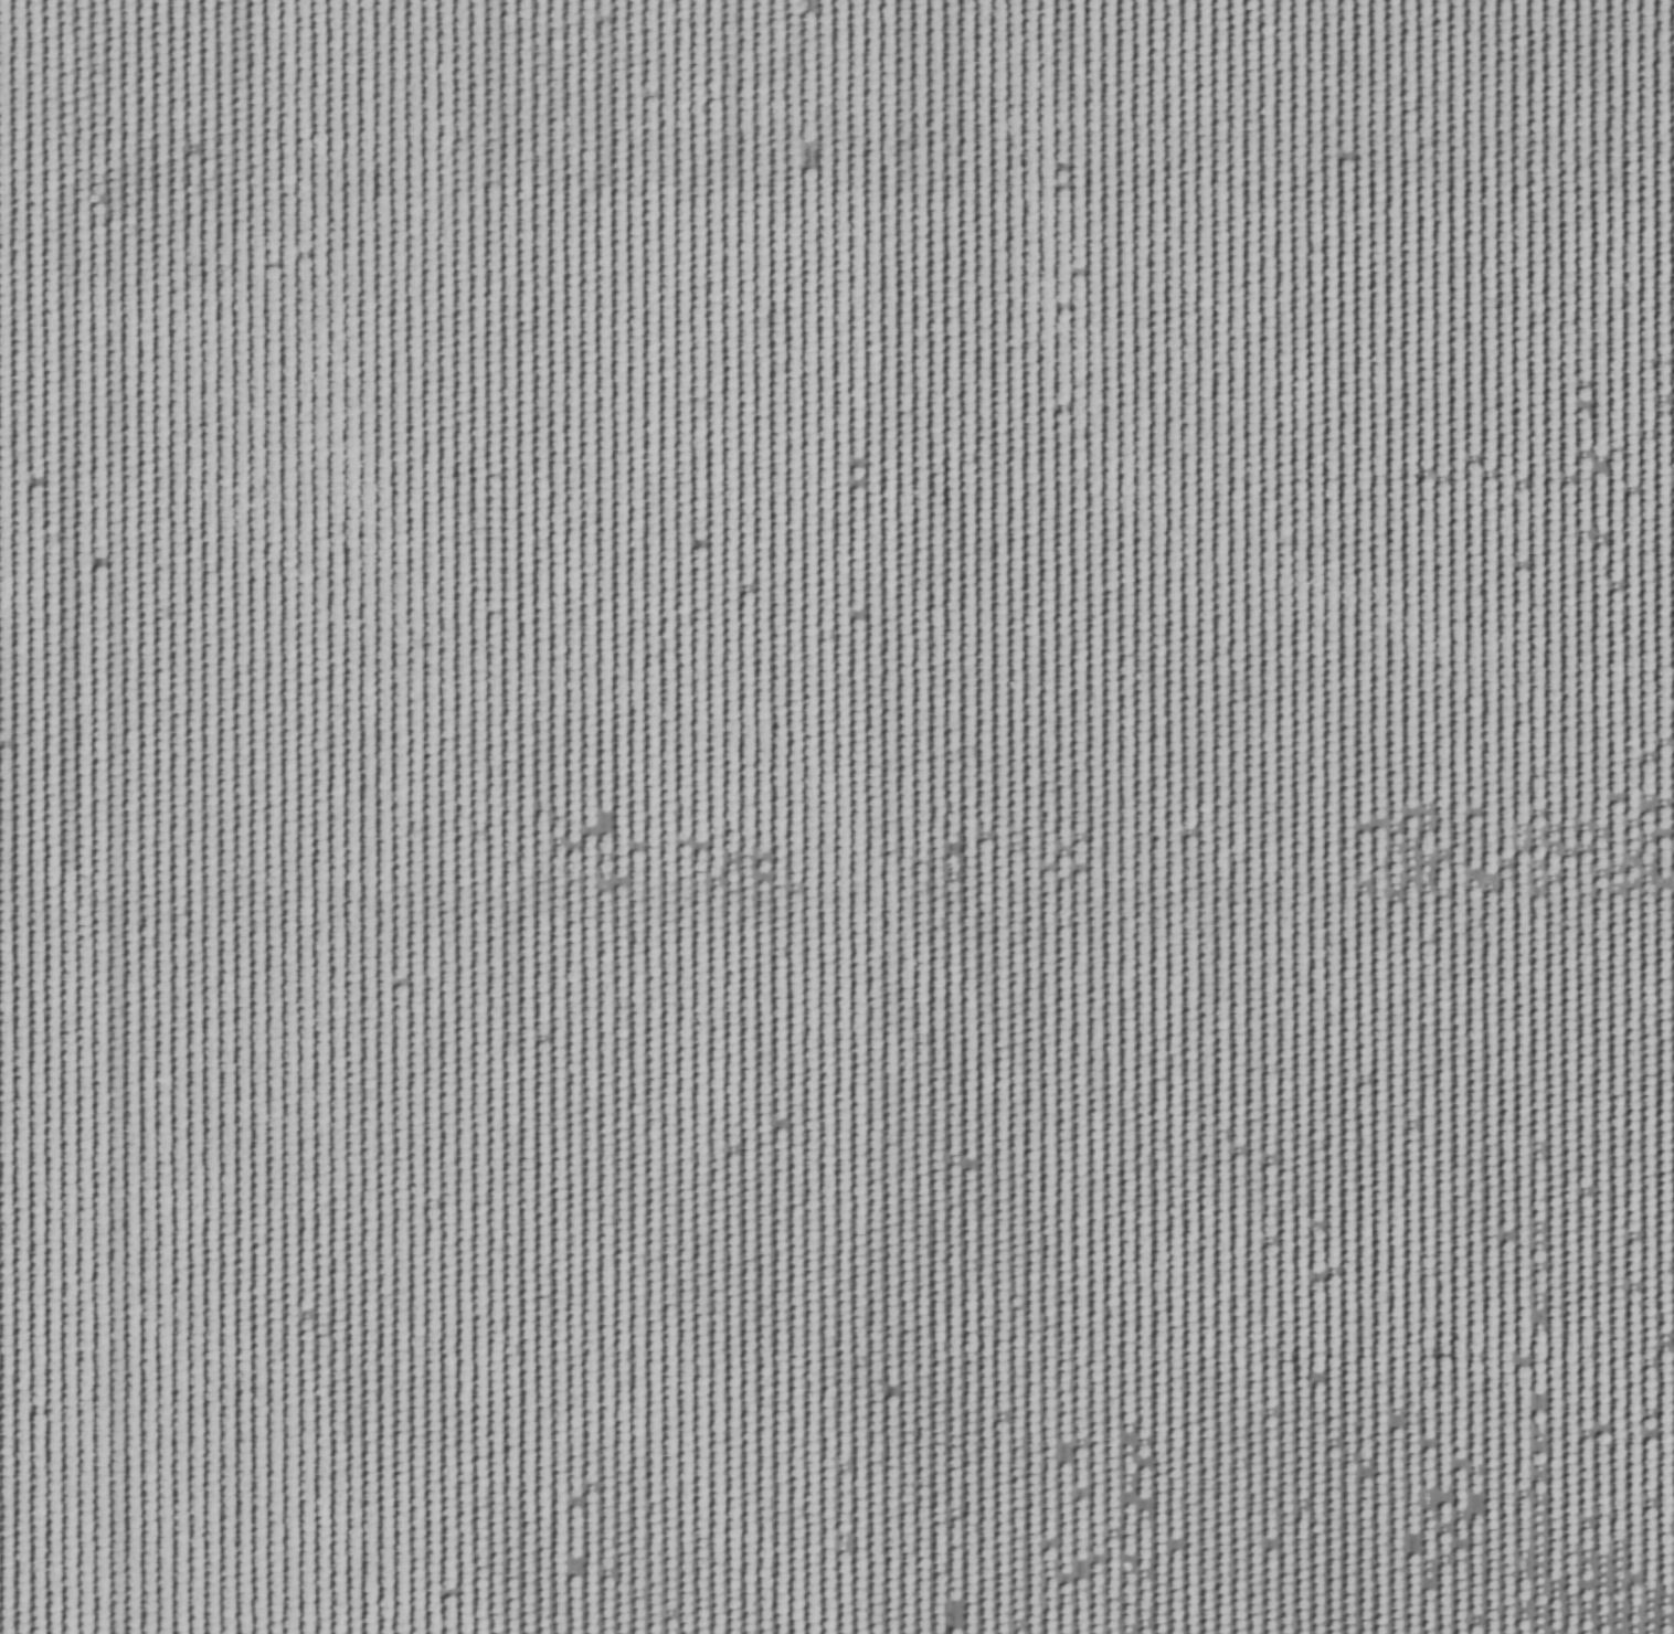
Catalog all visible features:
road: (836, 144)
road: (837, 904)

